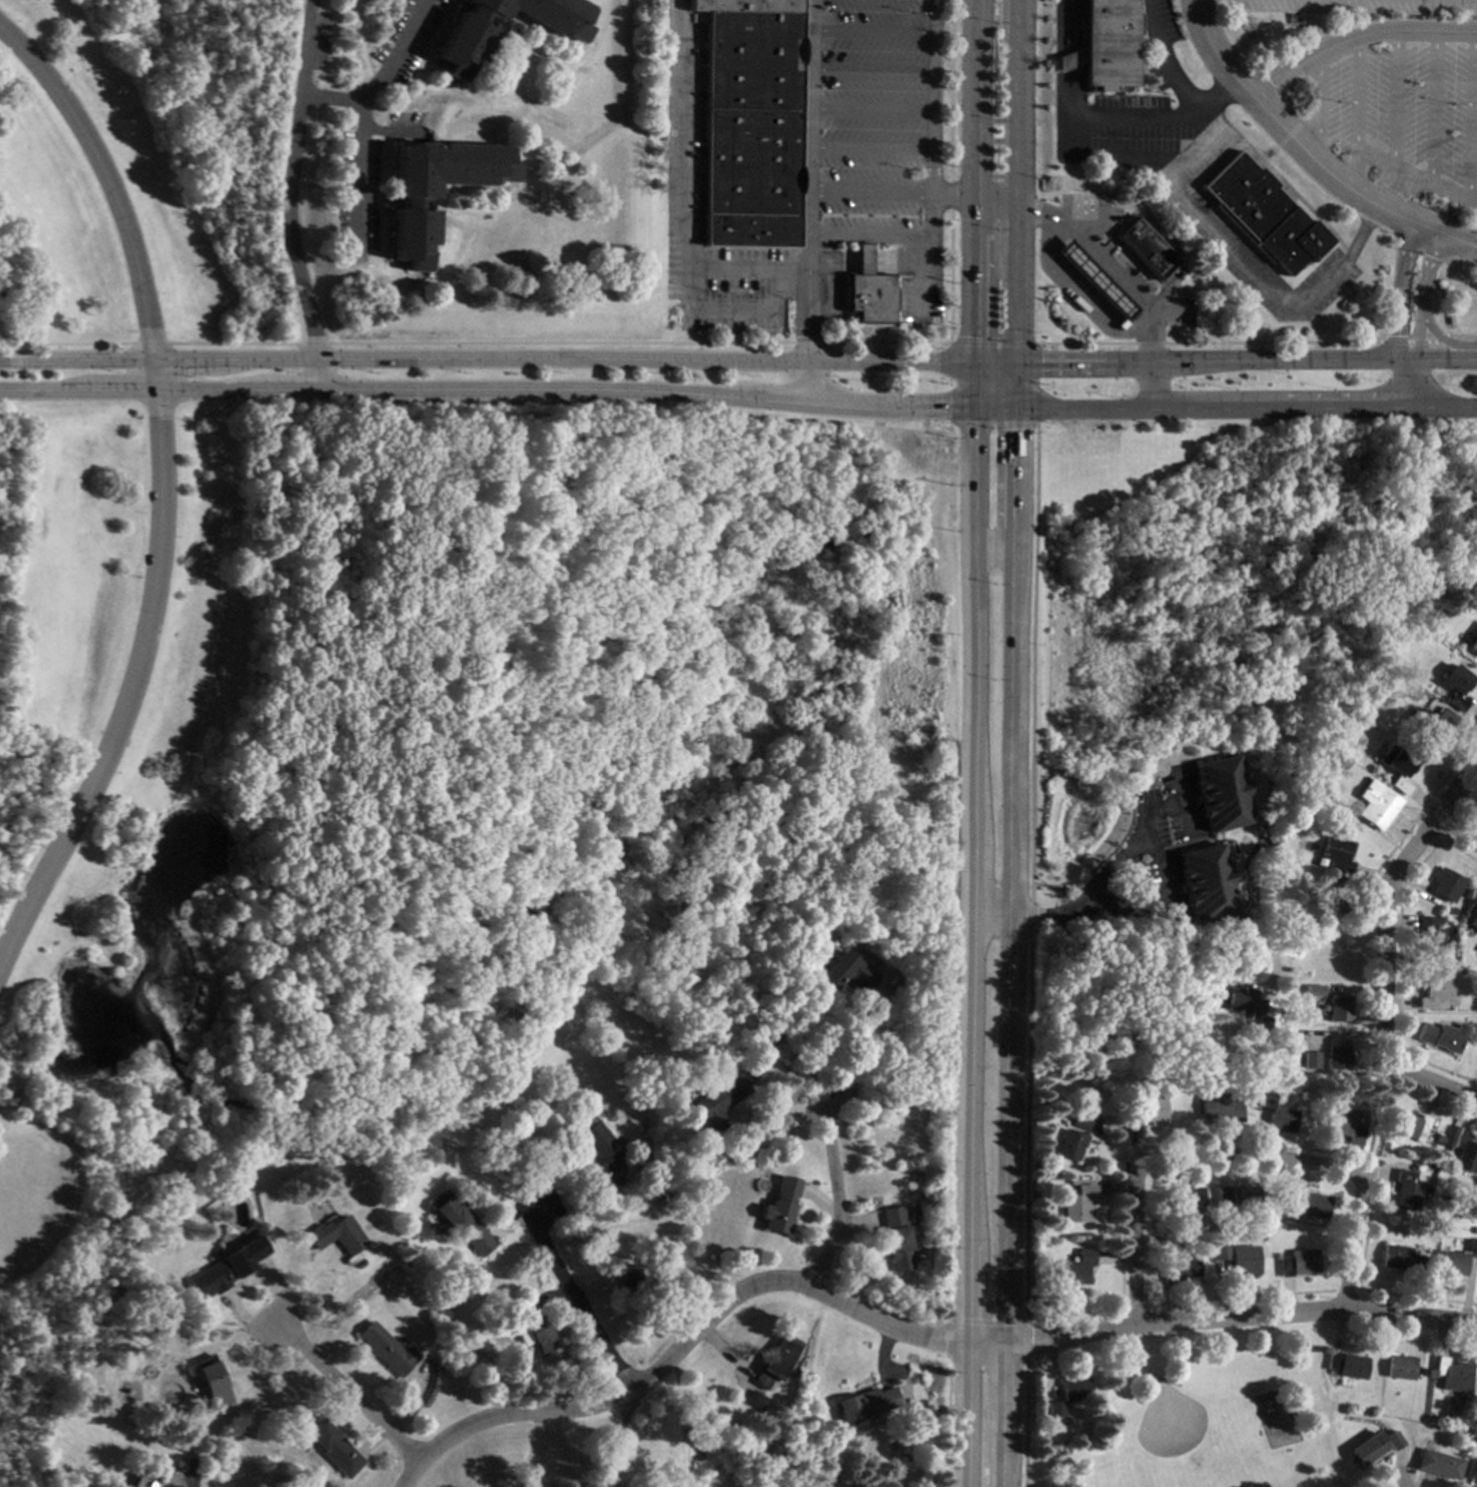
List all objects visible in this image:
road: (1020, 16)
road: (1073, 25)
road: (874, 32)
road: (1354, 34)
building: (466, 39)
building: (1104, 44)
road: (1165, 57)
road: (1073, 58)
road: (873, 71)
parking lot: (1374, 86)
road: (1072, 90)
road: (1215, 92)
road: (936, 96)
road: (1391, 97)
road: (332, 99)
road: (1430, 106)
road: (1315, 107)
road: (873, 110)
road: (1018, 113)
road: (1352, 114)
road: (1467, 115)
road: (679, 119)
road: (362, 121)
building: (752, 122)
road: (394, 130)
road: (1280, 130)
road: (872, 148)
road: (1076, 155)
road: (1155, 167)
road: (1176, 167)
road: (1414, 174)
road: (809, 180)
road: (871, 192)
road: (952, 193)
road: (994, 194)
park: (112, 196)
road: (288, 196)
building: (411, 203)
road: (971, 203)
building: (1260, 214)
road: (933, 220)
road: (1016, 226)
road: (1360, 232)
road: (864, 234)
road: (1443, 235)
building: (1143, 249)
road: (832, 260)
road: (863, 261)
road: (894, 261)
road: (1109, 266)
building: (1180, 268)
road: (731, 269)
road: (1251, 272)
road: (918, 280)
building: (1092, 282)
road: (1394, 290)
building: (867, 291)
road: (1075, 293)
road: (827, 294)
road: (1015, 310)
road: (731, 312)
road: (1416, 318)
road: (1440, 340)
road: (1436, 358)
road: (484, 360)
traffic signals: (970, 362)
road: (992, 362)
road: (1204, 362)
traffic signals: (1014, 363)
road: (806, 383)
road: (1396, 383)
road: (1014, 386)
road: (1150, 386)
road: (485, 390)
road: (1437, 406)
traffic signals: (970, 408)
road: (992, 408)
road: (1206, 408)
traffic signals: (1014, 409)
road: (1012, 468)
road: (157, 487)
road: (989, 551)
park: (1232, 575)
building: (1473, 644)
building: (1453, 686)
building: (1362, 716)
building: (1428, 721)
road: (1010, 722)
building: (1396, 766)
park: (406, 768)
building: (1217, 792)
building: (1304, 804)
building: (1373, 804)
road: (1158, 812)
road: (1454, 834)
building: (1243, 841)
building: (1299, 845)
road: (1130, 850)
building: (1334, 853)
building: (1204, 882)
building: (1444, 884)
building: (1336, 893)
road: (1383, 898)
road: (1087, 911)
road: (990, 917)
building: (1473, 920)
building: (1428, 937)
road: (969, 947)
road: (1164, 947)
building: (845, 973)
building: (1312, 990)
building: (1435, 994)
building: (1234, 1001)
building: (1336, 1007)
building: (1261, 1024)
building: (1424, 1033)
building: (1449, 1037)
building: (772, 1038)
building: (1335, 1054)
building: (1309, 1059)
road: (867, 1061)
road: (1434, 1082)
building: (717, 1099)
building: (1216, 1107)
road: (1374, 1109)
building: (1143, 1112)
building: (1273, 1114)
building: (1076, 1120)
building: (1408, 1125)
building: (1339, 1126)
road: (1006, 1130)
road: (1233, 1139)
building: (1437, 1142)
building: (1067, 1143)
road: (1234, 1153)
building: (1464, 1153)
building: (602, 1157)
building: (908, 1180)
building: (1068, 1181)
building: (1043, 1185)
building: (1405, 1188)
building: (1220, 1195)
building: (1240, 1197)
building: (1181, 1199)
building: (658, 1202)
road: (831, 1203)
building: (1075, 1204)
building: (1309, 1204)
building: (776, 1206)
building: (1427, 1219)
building: (462, 1223)
building: (1474, 1230)
building: (334, 1234)
building: (895, 1237)
building: (1472, 1247)
building: (1218, 1251)
building: (1241, 1259)
building: (1402, 1260)
building: (1296, 1262)
building: (1450, 1262)
building: (1074, 1267)
building: (1177, 1267)
building: (225, 1268)
building: (643, 1281)
road: (1342, 1290)
road: (1236, 1296)
road: (1413, 1296)
road: (577, 1300)
road: (1131, 1305)
road: (1074, 1314)
road: (1240, 1316)
road: (1004, 1322)
building: (537, 1329)
road: (692, 1334)
building: (385, 1349)
building: (1329, 1360)
building: (775, 1361)
building: (1349, 1366)
building: (1398, 1367)
building: (1452, 1374)
building: (208, 1381)
building: (1072, 1388)
road: (1003, 1389)
road: (345, 1394)
building: (755, 1400)
building: (864, 1402)
building: (1053, 1409)
park: (1201, 1414)
park: (1173, 1434)
building: (1392, 1439)
road: (1003, 1441)
building: (332, 1448)
building: (1367, 1448)
building: (1438, 1463)
road: (1002, 1467)
building: (1471, 1469)
building: (157, 1481)
building: (1476, 1483)
building: (831, 1484)

